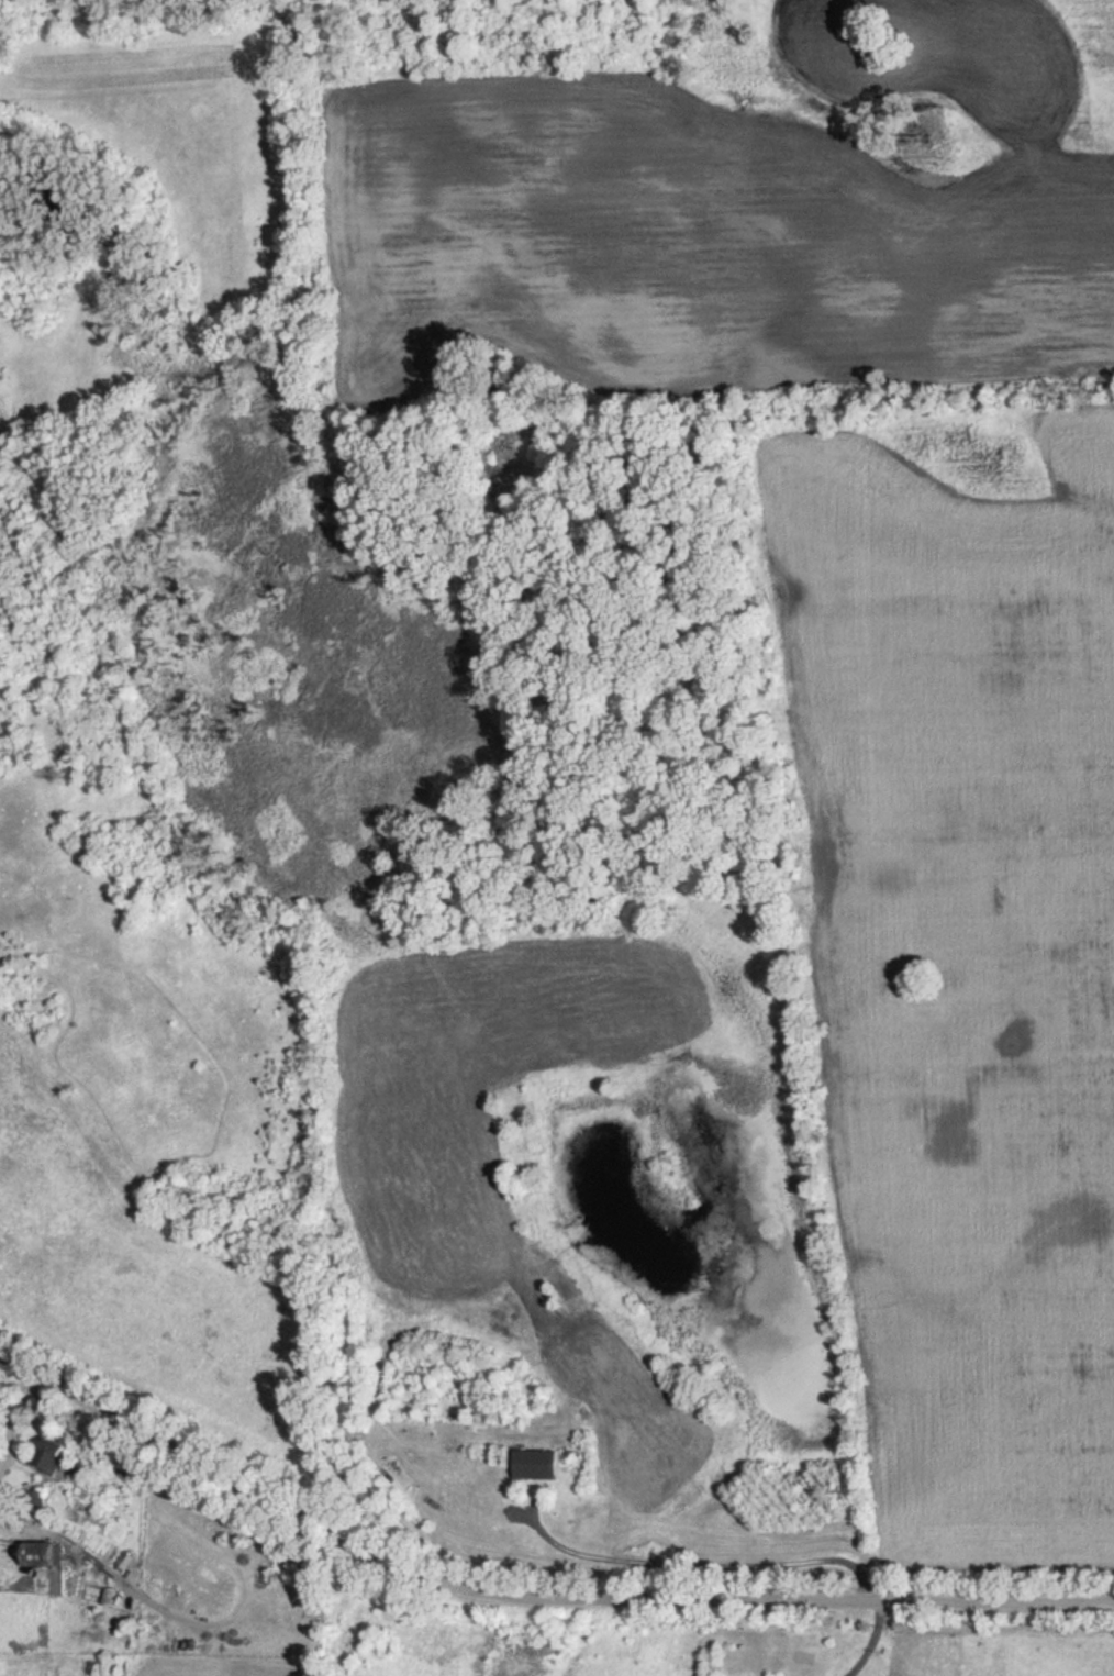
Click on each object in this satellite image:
road: (15, 1421)
building: (51, 1455)
building: (539, 1464)
road: (527, 1599)
road: (869, 1642)

